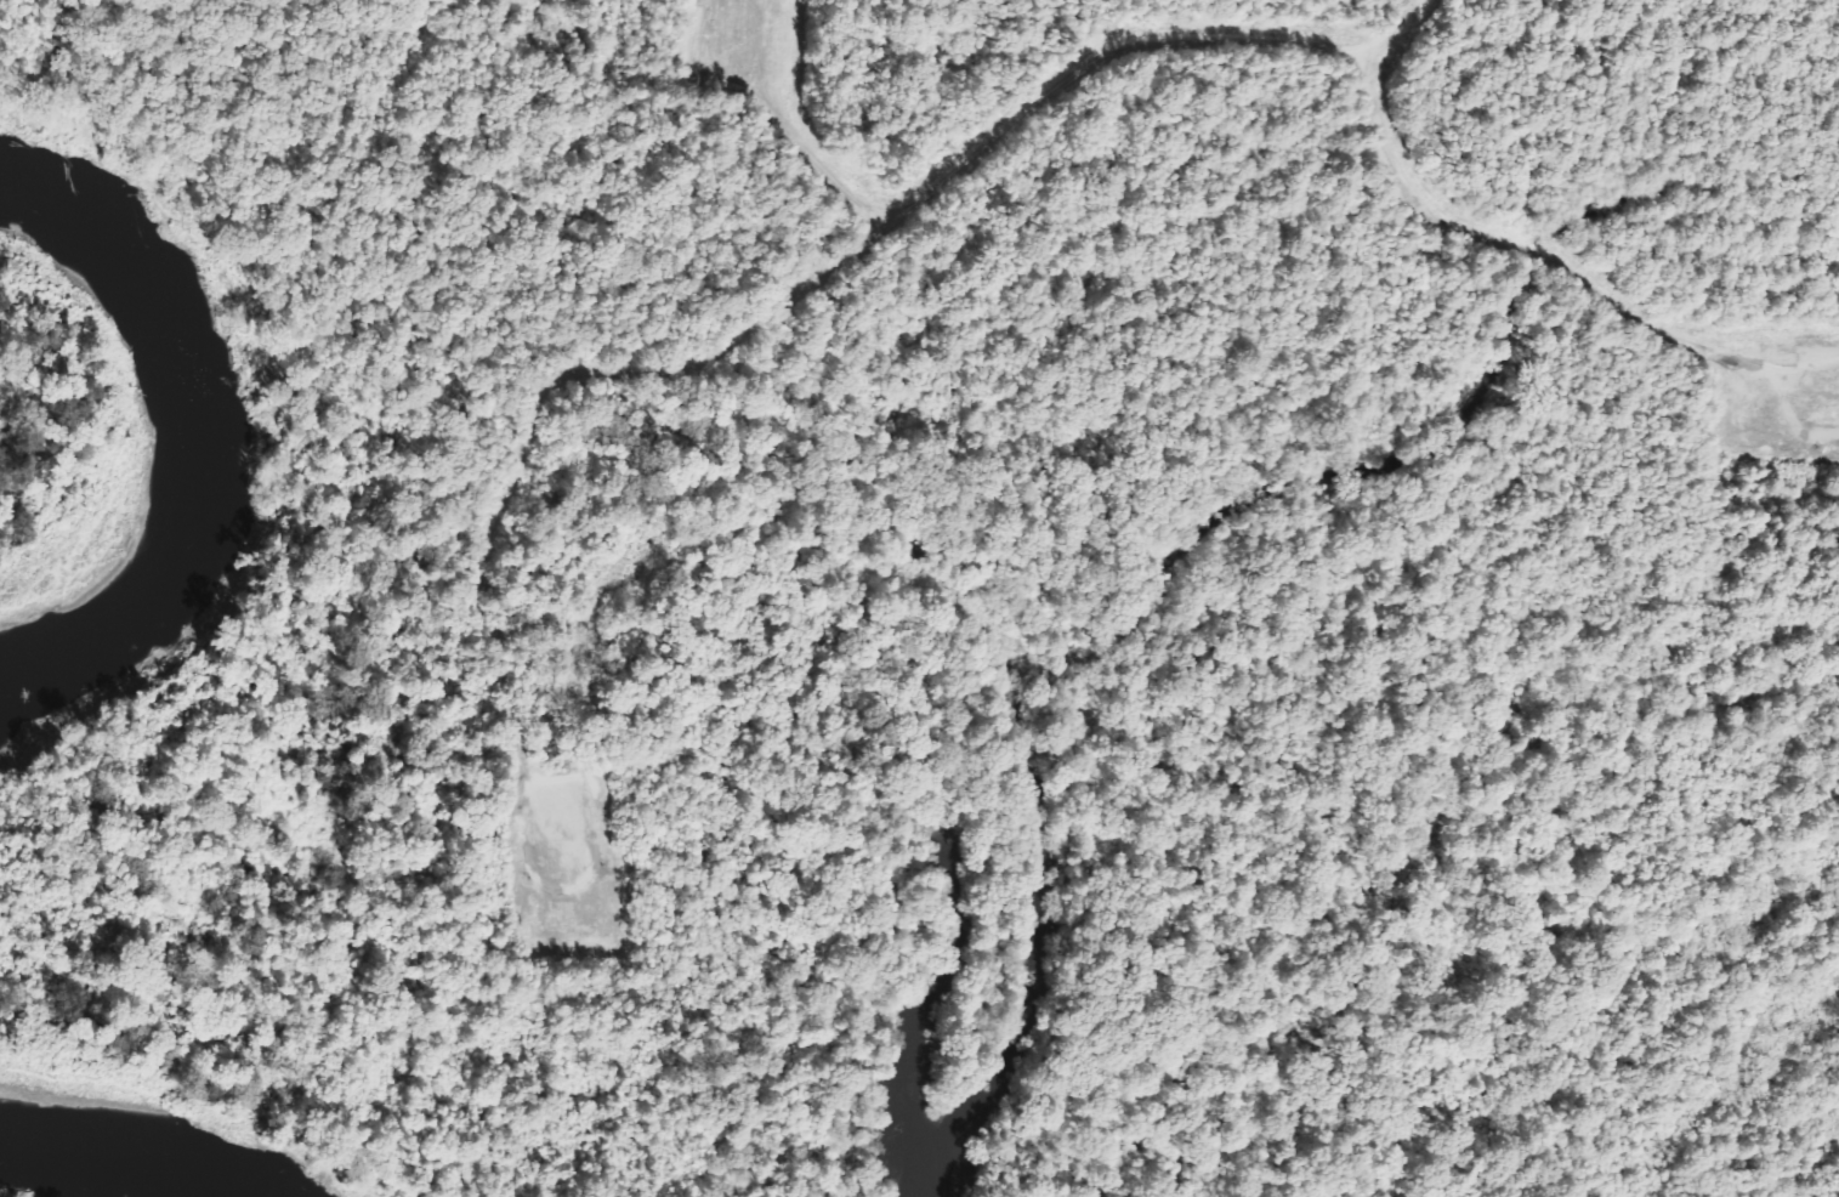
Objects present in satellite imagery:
road: (761, 322)
river: (178, 422)
river: (120, 1139)

